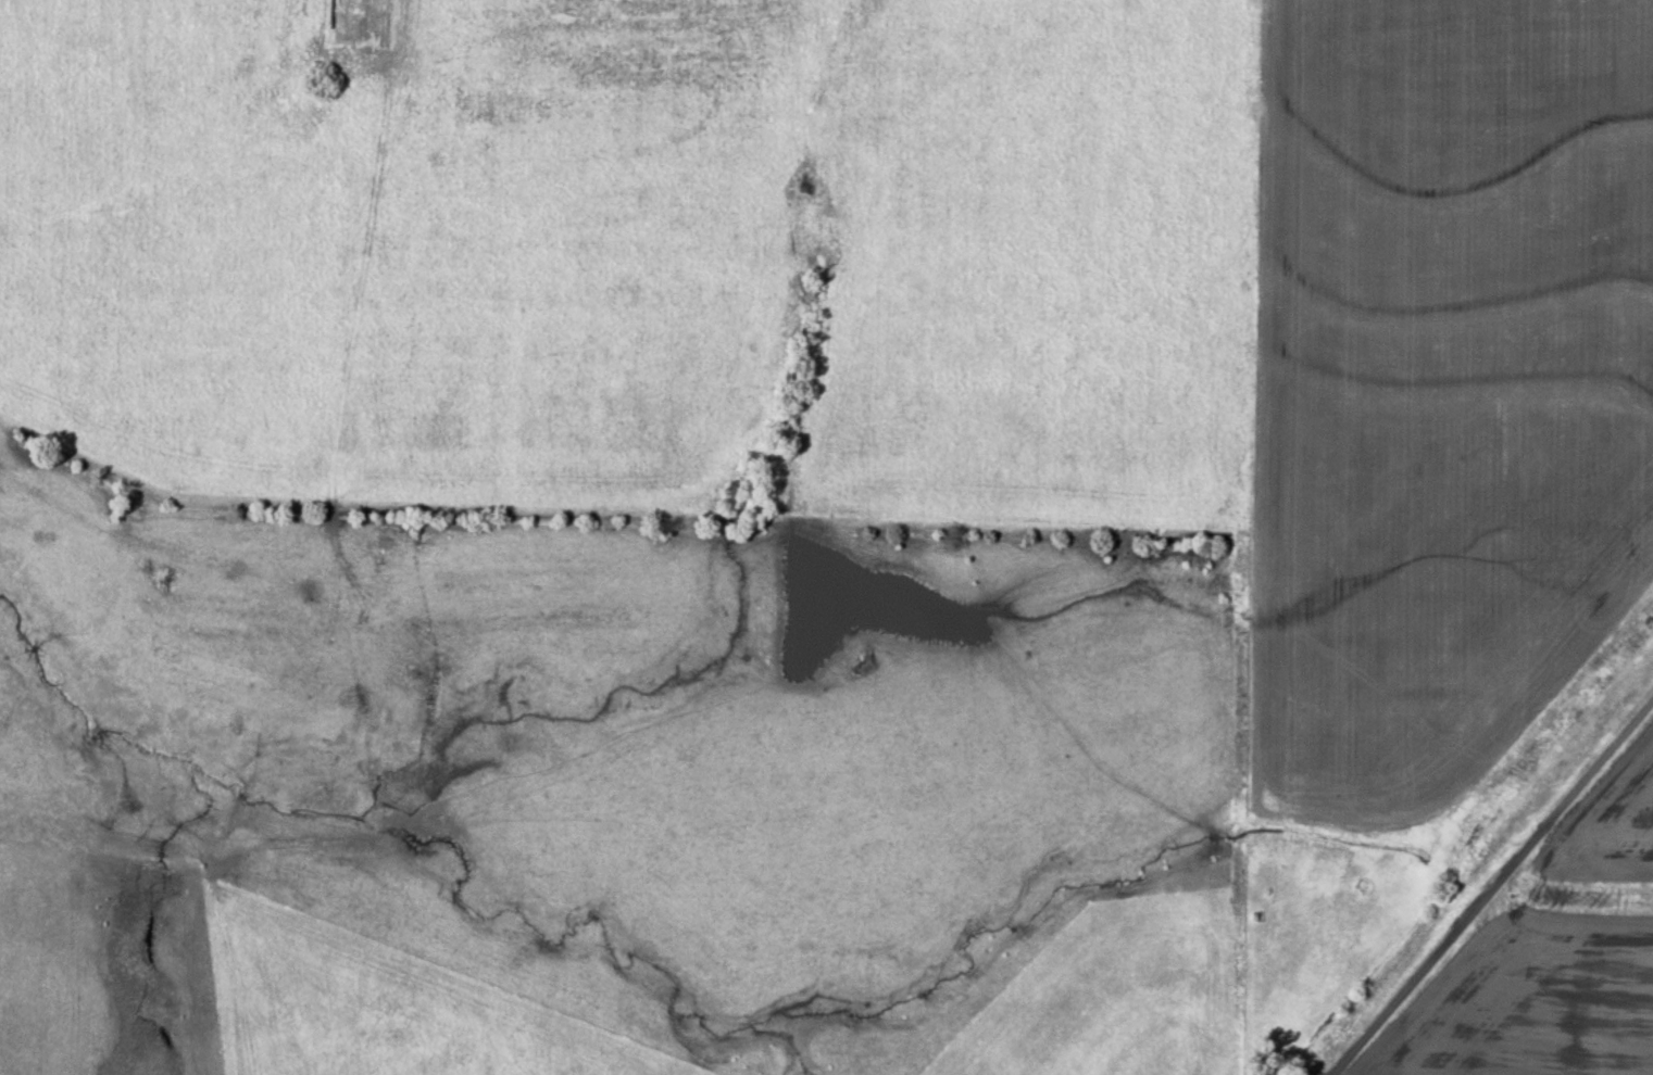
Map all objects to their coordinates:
crop: (1612, 818)
crop: (1536, 1002)

